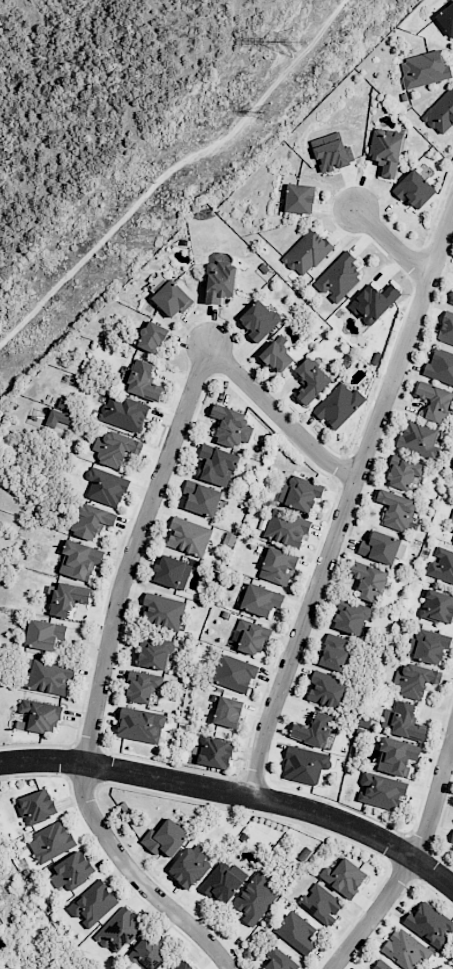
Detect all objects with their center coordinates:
building: (446, 19)
power tower: (274, 51)
building: (424, 69)
building: (441, 113)
power tower: (263, 116)
building: (386, 151)
building: (331, 152)
road: (171, 171)
building: (414, 189)
building: (299, 198)
road: (390, 243)
building: (306, 252)
building: (338, 277)
building: (219, 281)
building: (172, 298)
building: (451, 298)
building: (373, 302)
building: (260, 320)
building: (446, 329)
building: (152, 337)
building: (277, 354)
building: (440, 366)
building: (311, 380)
building: (143, 381)
building: (434, 401)
building: (339, 405)
building: (124, 413)
building: (57, 418)
building: (230, 426)
building: (419, 439)
building: (115, 448)
road: (167, 456)
building: (216, 465)
building: (402, 472)
building: (106, 487)
building: (300, 493)
building: (201, 498)
road: (348, 501)
building: (396, 509)
building: (451, 517)
building: (91, 521)
building: (286, 528)
building: (188, 536)
building: (452, 540)
building: (379, 547)
building: (79, 560)
building: (278, 566)
building: (441, 566)
building: (171, 572)
building: (368, 581)
building: (67, 598)
building: (261, 600)
building: (437, 606)
building: (162, 610)
building: (351, 617)
building: (44, 634)
building: (250, 636)
building: (428, 645)
building: (154, 652)
building: (334, 652)
building: (233, 673)
building: (50, 676)
building: (415, 680)
building: (142, 686)
building: (327, 690)
building: (228, 712)
building: (40, 715)
building: (404, 721)
building: (140, 725)
building: (313, 730)
building: (214, 752)
building: (396, 756)
building: (304, 765)
building: (381, 791)
road: (236, 793)
building: (36, 806)
building: (165, 838)
building: (451, 838)
building: (50, 841)
road: (415, 858)
building: (190, 865)
building: (72, 870)
building: (344, 877)
road: (136, 878)
building: (223, 881)
building: (255, 899)
building: (93, 904)
building: (320, 904)
building: (430, 924)
building: (119, 930)
building: (296, 932)
building: (405, 949)
building: (147, 954)
building: (278, 959)
building: (183, 965)
building: (380, 966)

